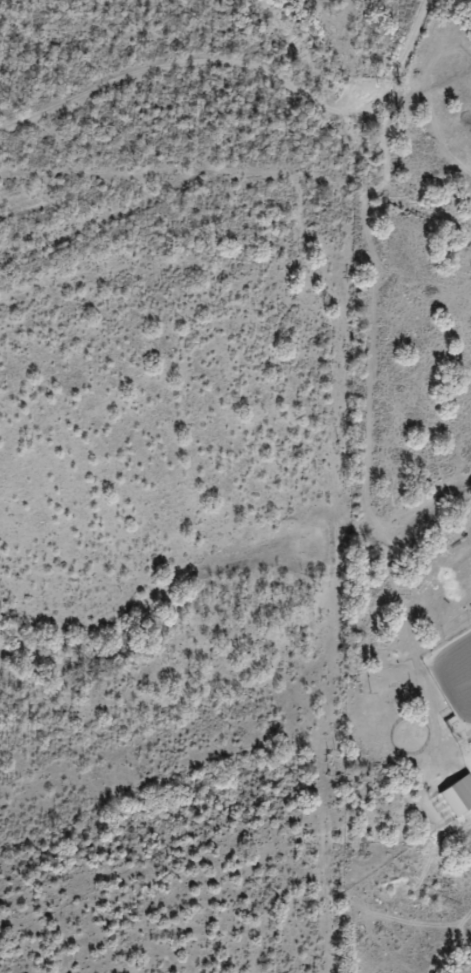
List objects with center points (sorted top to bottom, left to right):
road: (244, 77)
building: (458, 796)

